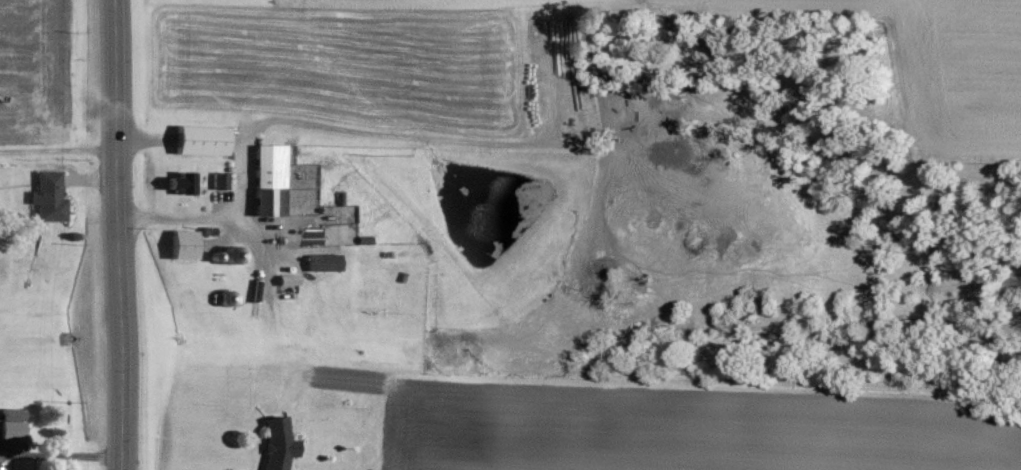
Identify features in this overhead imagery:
road: (287, 125)
building: (204, 139)
road: (55, 147)
building: (270, 178)
building: (221, 179)
building: (184, 181)
building: (50, 196)
road: (117, 234)
building: (186, 243)
road: (256, 245)
building: (326, 261)
building: (291, 281)
building: (14, 424)
building: (278, 443)
road: (61, 451)

